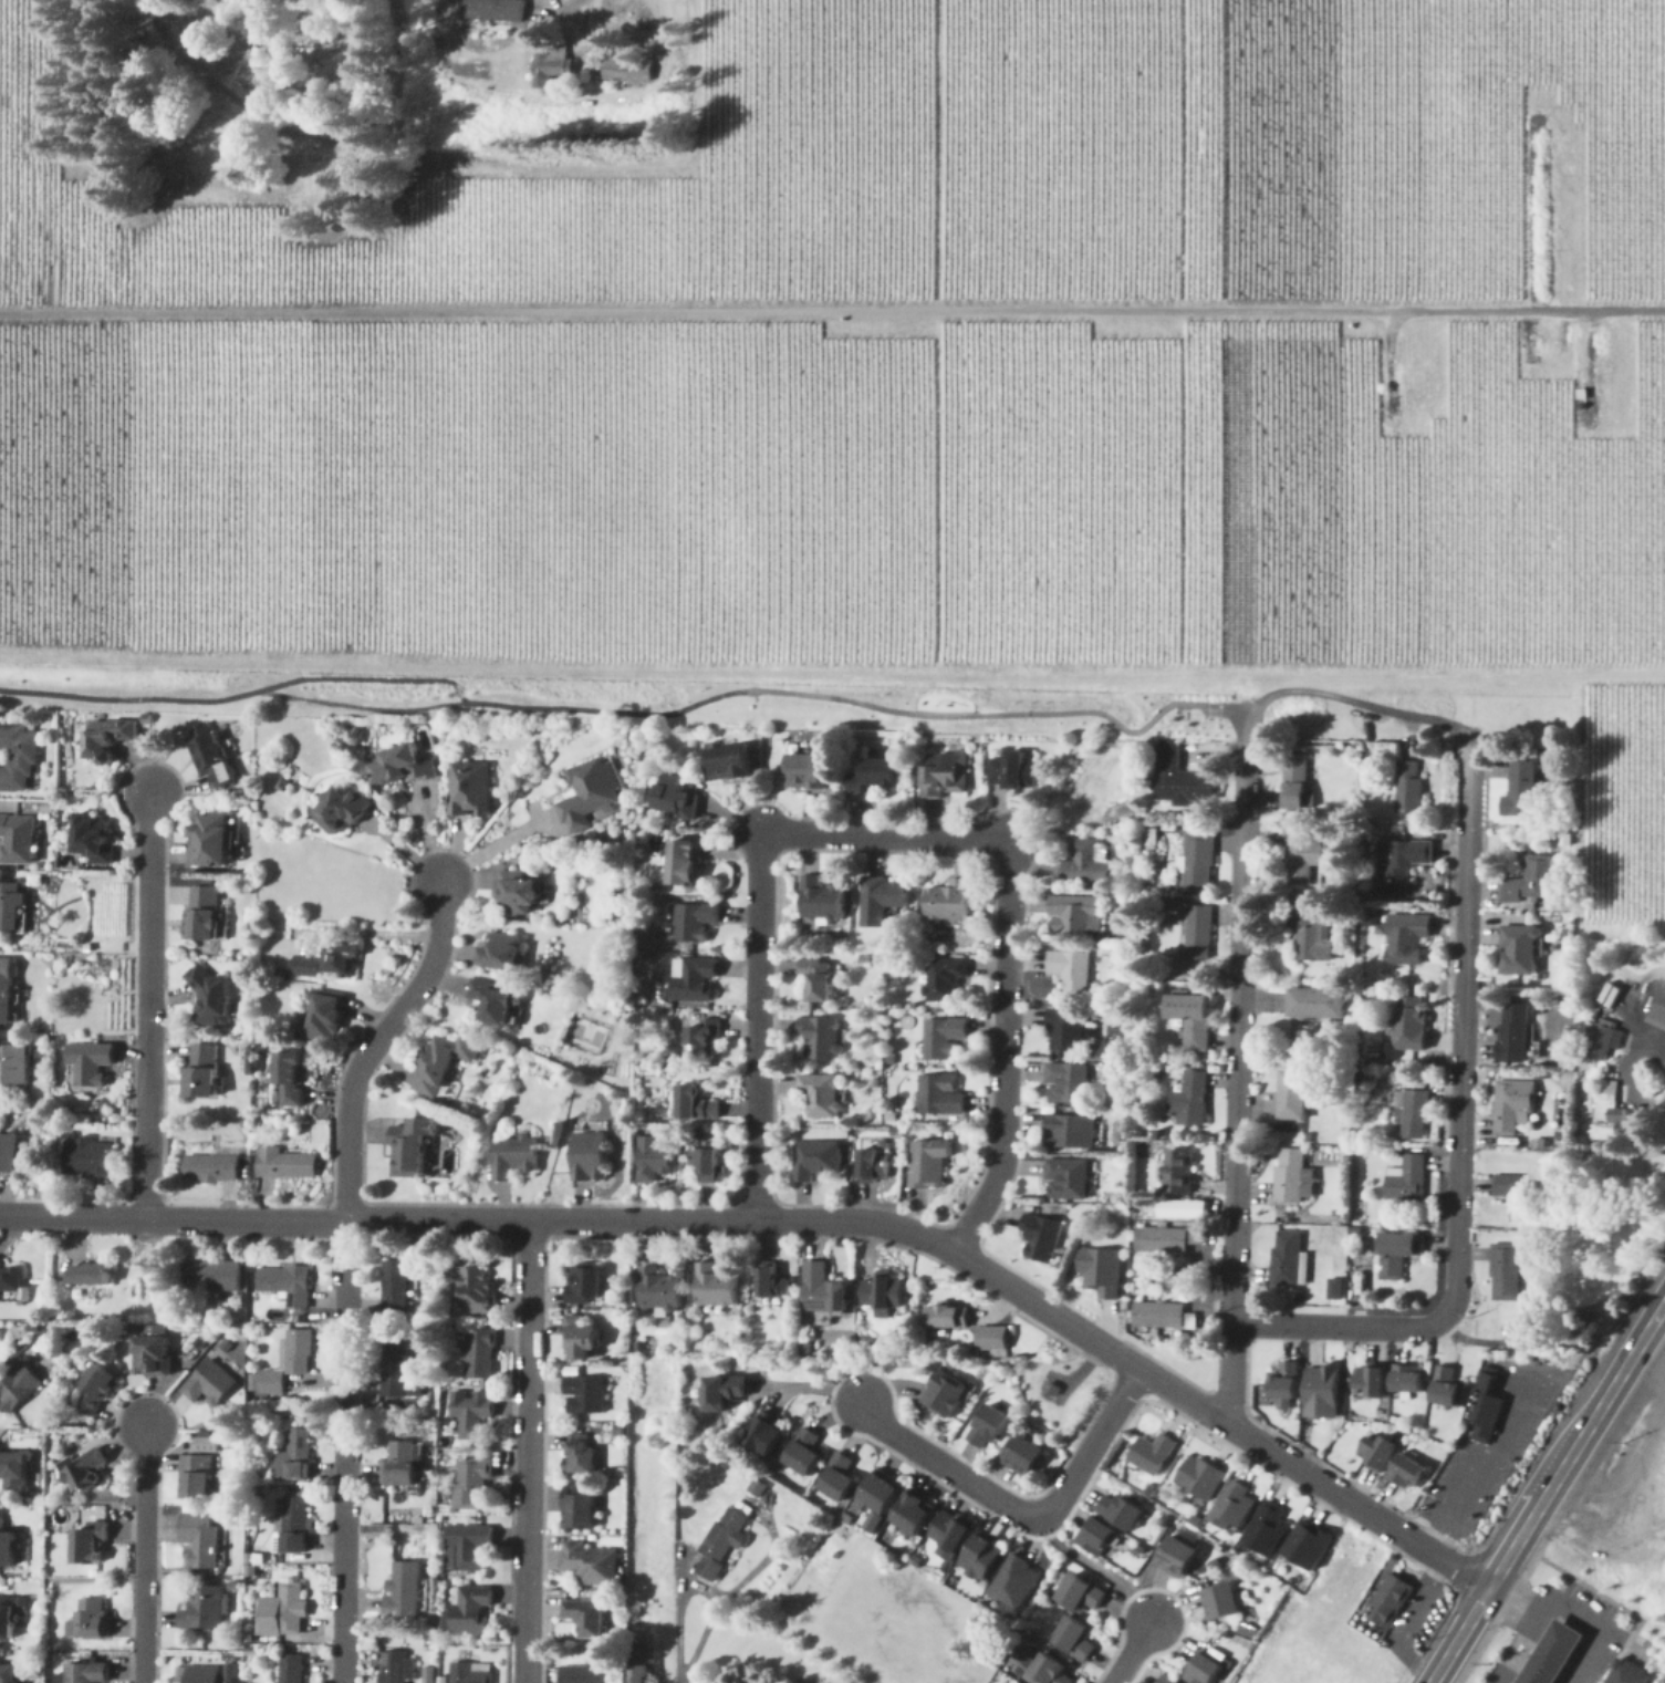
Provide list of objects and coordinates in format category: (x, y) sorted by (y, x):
building: (496, 8)
road: (623, 52)
building: (552, 64)
building: (628, 66)
road: (832, 308)
road: (1351, 700)
building: (105, 737)
building: (210, 754)
building: (19, 757)
building: (728, 762)
building: (398, 765)
building: (807, 770)
building: (1011, 771)
building: (945, 773)
building: (873, 775)
building: (1179, 777)
building: (1294, 780)
building: (1407, 787)
building: (469, 788)
building: (1521, 790)
building: (589, 794)
building: (675, 799)
building: (341, 810)
building: (92, 838)
building: (17, 839)
building: (211, 840)
road: (885, 840)
road: (489, 845)
building: (1300, 858)
building: (1086, 862)
building: (1196, 862)
building: (1401, 863)
building: (684, 864)
building: (1530, 882)
building: (519, 893)
building: (820, 900)
building: (878, 900)
building: (947, 903)
building: (12, 907)
building: (204, 913)
building: (1074, 914)
building: (693, 922)
building: (1197, 934)
building: (1308, 934)
building: (1404, 938)
building: (501, 952)
building: (1520, 952)
building: (327, 963)
building: (1070, 970)
building: (693, 981)
building: (816, 981)
building: (944, 981)
building: (7, 991)
building: (1610, 991)
building: (212, 1000)
building: (492, 1001)
building: (1315, 1005)
road: (148, 1008)
building: (1658, 1011)
building: (325, 1017)
building: (1190, 1020)
building: (1408, 1024)
road: (759, 1027)
building: (1064, 1030)
building: (1512, 1033)
building: (820, 1038)
building: (943, 1038)
building: (700, 1039)
building: (1598, 1041)
road: (373, 1045)
road: (1659, 1050)
road: (1005, 1053)
building: (441, 1062)
building: (87, 1064)
building: (12, 1067)
building: (202, 1071)
road: (1238, 1072)
building: (289, 1080)
building: (1065, 1084)
building: (939, 1094)
building: (819, 1095)
building: (1291, 1097)
building: (1189, 1100)
building: (1605, 1101)
building: (693, 1103)
building: (1510, 1104)
building: (1414, 1115)
building: (1068, 1132)
road: (1458, 1132)
building: (408, 1146)
building: (8, 1153)
building: (86, 1155)
building: (587, 1156)
building: (512, 1157)
building: (653, 1157)
building: (813, 1160)
building: (927, 1163)
building: (282, 1164)
building: (707, 1164)
building: (210, 1166)
building: (872, 1166)
building: (1177, 1173)
building: (1288, 1176)
building: (1065, 1178)
building: (1406, 1178)
building: (1510, 1196)
building: (1187, 1206)
road: (171, 1219)
building: (1041, 1238)
building: (1166, 1240)
building: (1396, 1254)
road: (959, 1257)
building: (1286, 1259)
building: (1099, 1271)
building: (89, 1275)
building: (211, 1276)
building: (1503, 1277)
building: (10, 1280)
building: (284, 1284)
building: (770, 1284)
building: (584, 1285)
building: (715, 1286)
building: (1336, 1286)
building: (394, 1289)
building: (472, 1290)
building: (657, 1290)
building: (821, 1290)
building: (882, 1294)
building: (1157, 1316)
building: (946, 1318)
building: (582, 1338)
road: (1655, 1338)
building: (991, 1339)
building: (476, 1354)
building: (149, 1357)
building: (287, 1362)
building: (396, 1372)
building: (1407, 1379)
building: (1370, 1382)
building: (1284, 1383)
building: (208, 1384)
building: (17, 1388)
building: (1447, 1389)
building: (93, 1392)
building: (721, 1393)
building: (1321, 1394)
building: (584, 1395)
building: (944, 1395)
building: (1485, 1410)
building: (469, 1413)
building: (988, 1429)
building: (763, 1434)
road: (528, 1438)
building: (205, 1445)
road: (1576, 1448)
road: (344, 1452)
building: (1375, 1453)
building: (803, 1454)
building: (1151, 1454)
building: (580, 1455)
building: (289, 1457)
building: (1022, 1457)
building: (400, 1465)
building: (12, 1471)
road: (1481, 1472)
building: (1407, 1473)
building: (84, 1475)
building: (195, 1478)
building: (1199, 1478)
building: (836, 1479)
building: (471, 1485)
building: (878, 1499)
building: (579, 1507)
building: (1234, 1508)
building: (1120, 1510)
building: (914, 1514)
road: (1020, 1516)
building: (289, 1527)
building: (1267, 1529)
building: (949, 1533)
building: (1096, 1537)
building: (1312, 1541)
building: (199, 1542)
building: (720, 1544)
building: (84, 1546)
building: (466, 1547)
building: (7, 1548)
road: (143, 1556)
building: (981, 1557)
building: (1176, 1558)
building: (589, 1563)
road: (696, 1582)
building: (1012, 1582)
building: (403, 1591)
building: (1079, 1594)
building: (1221, 1602)
building: (1390, 1602)
building: (200, 1608)
building: (282, 1609)
building: (470, 1610)
building: (584, 1618)
building: (6, 1619)
road: (1547, 1619)
building: (87, 1620)
road: (1409, 1624)
road: (1591, 1625)
road: (1529, 1627)
road: (1541, 1629)
road: (1571, 1634)
road: (1459, 1637)
building: (1073, 1638)
road: (1533, 1642)
road: (1565, 1644)
road: (1591, 1646)
road: (1132, 1653)
road: (1527, 1653)
building: (1557, 1655)
gas station: (1557, 1655)
road: (1585, 1656)
road: (1557, 1658)
road: (1520, 1664)
building: (641, 1666)
building: (392, 1668)
building: (288, 1669)
road: (524, 1669)
building: (1048, 1669)
building: (1203, 1669)
road: (1551, 1669)
road: (1576, 1670)
building: (472, 1671)
building: (83, 1673)
road: (1515, 1673)
building: (8, 1674)
building: (202, 1674)
building: (584, 1674)
building: (1628, 1674)
road: (1539, 1676)
building: (1166, 1680)
road: (1505, 1680)
road: (1570, 1680)
road: (1527, 1681)

